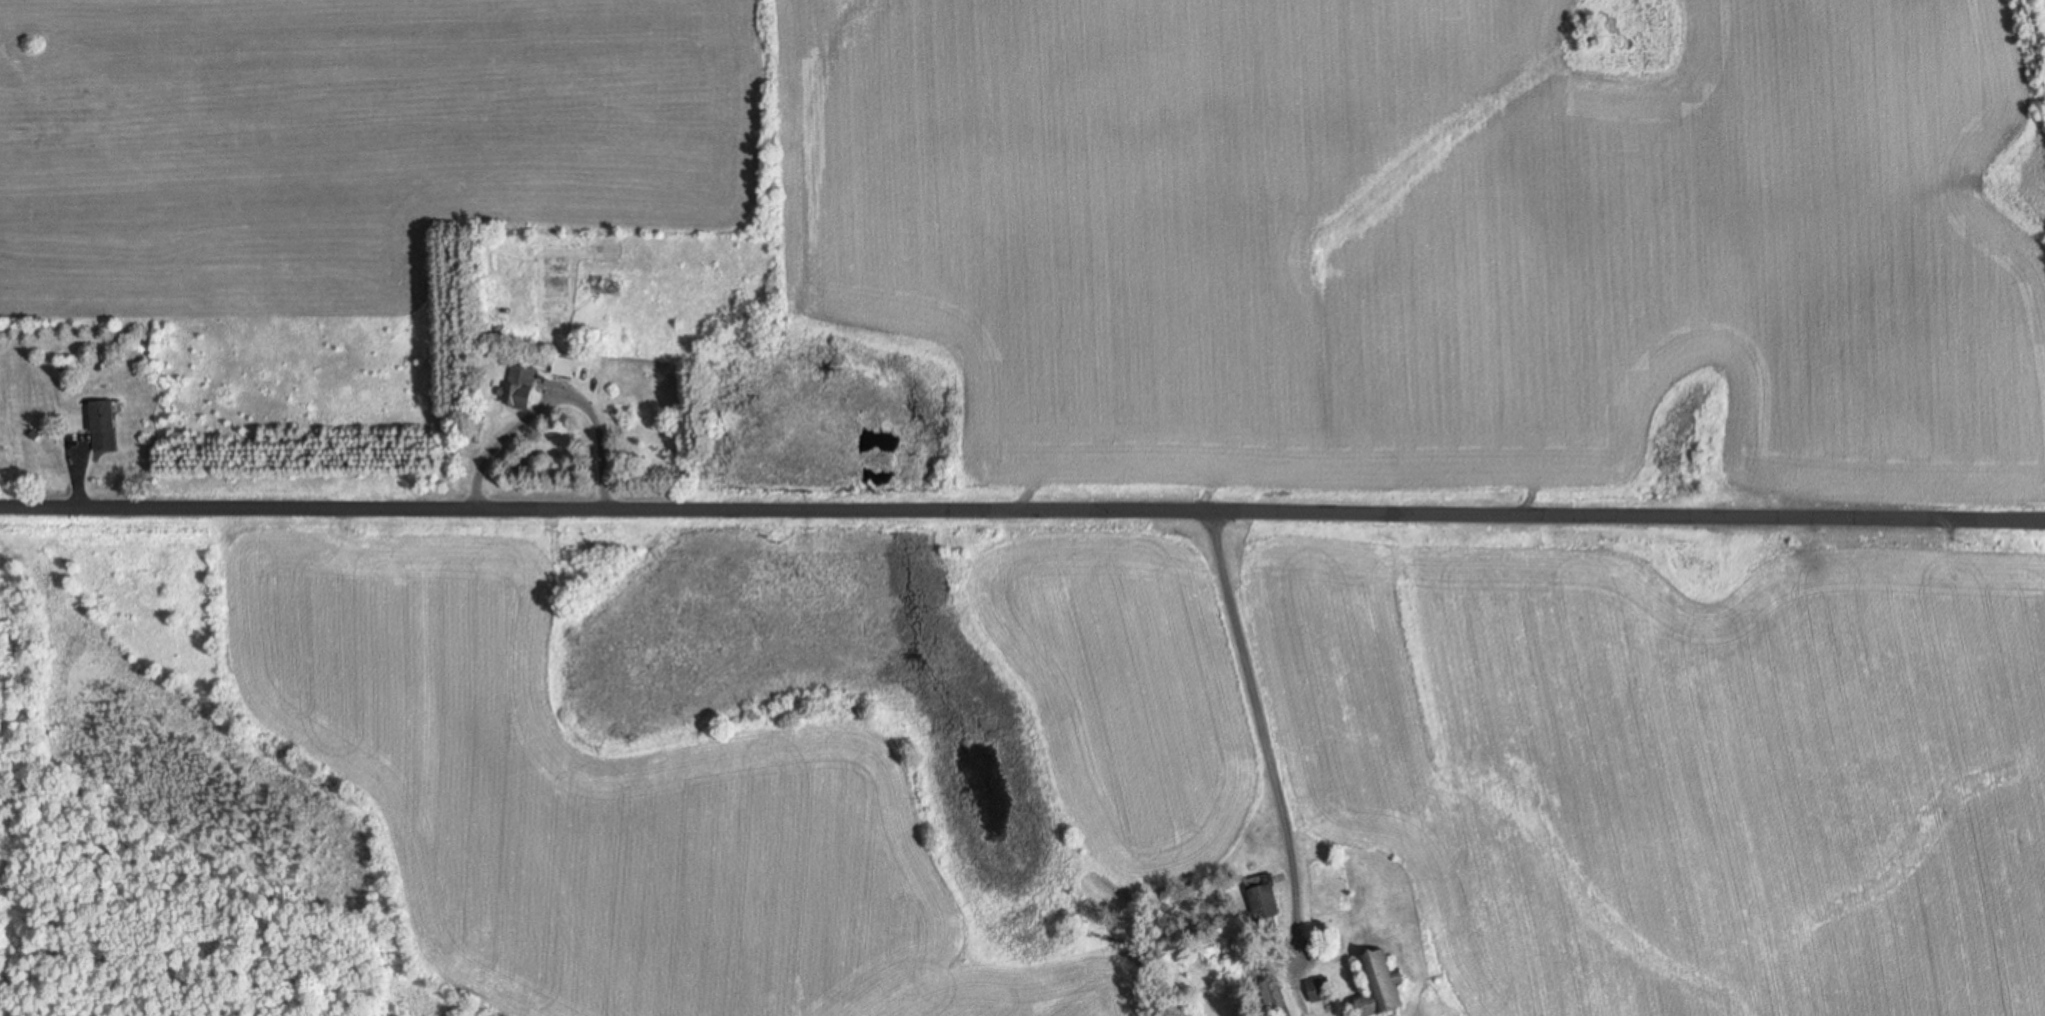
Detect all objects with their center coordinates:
building: (566, 365)
building: (524, 384)
building: (106, 424)
road: (1022, 508)
building: (1268, 903)
building: (1323, 988)

